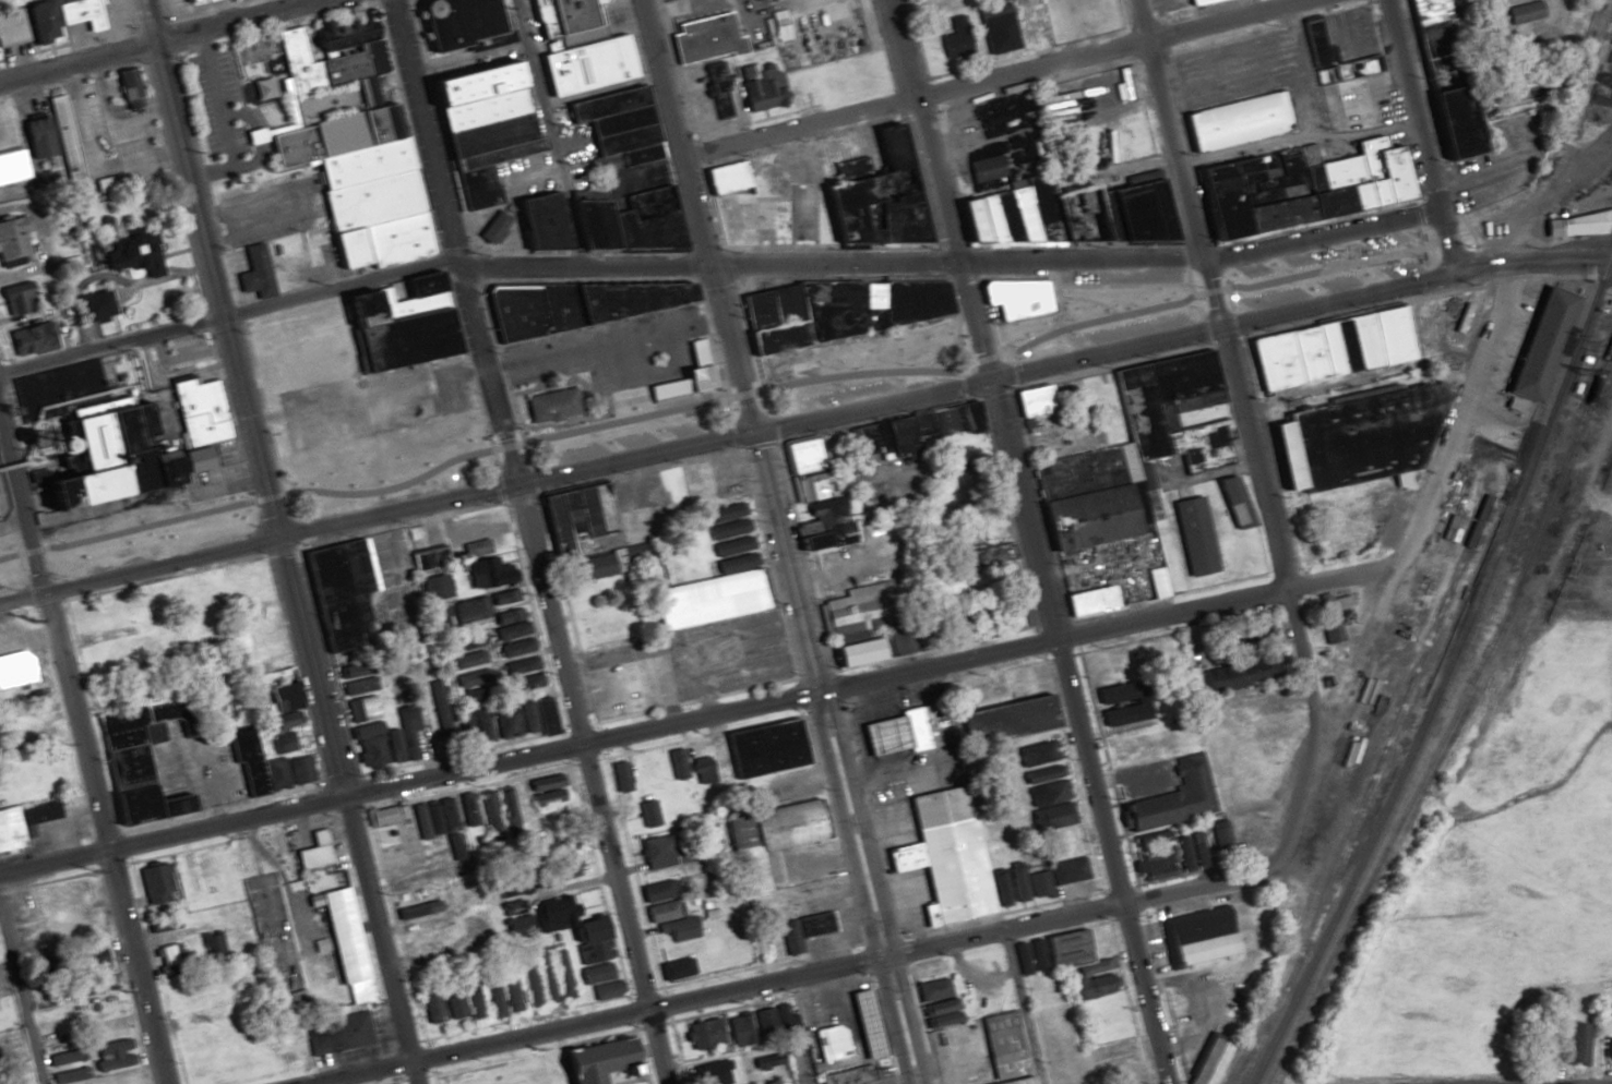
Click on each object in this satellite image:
building: (919, 0)
road: (1301, 0)
building: (191, 1)
building: (1194, 2)
parking lot: (1165, 5)
parking lot: (1213, 7)
road: (683, 9)
parking lot: (697, 13)
road: (1124, 14)
parking lot: (1080, 17)
building: (1525, 17)
building: (55, 19)
building: (564, 20)
road: (748, 21)
building: (452, 22)
parking lot: (763, 22)
road: (1274, 25)
building: (1027, 26)
parking lot: (816, 31)
building: (995, 31)
parking lot: (1349, 32)
building: (0, 34)
road: (154, 38)
building: (1313, 38)
traffic signals: (152, 39)
building: (706, 39)
road: (919, 40)
building: (955, 41)
road: (1028, 53)
road: (1221, 55)
road: (466, 57)
building: (586, 64)
parking lot: (1230, 69)
road: (1298, 71)
building: (1444, 72)
road: (994, 76)
road: (1229, 82)
building: (126, 84)
building: (762, 86)
building: (261, 88)
building: (718, 91)
building: (801, 98)
parking lot: (698, 106)
parking lot: (1368, 108)
building: (1238, 120)
building: (58, 125)
building: (616, 125)
road: (549, 132)
road: (1419, 133)
road: (1295, 136)
building: (23, 153)
building: (498, 155)
parking lot: (1501, 158)
building: (986, 168)
road: (1114, 170)
road: (1490, 173)
building: (721, 179)
building: (1295, 186)
road: (932, 190)
building: (874, 196)
building: (628, 212)
road: (697, 215)
building: (1066, 215)
building: (351, 219)
road: (1316, 221)
building: (1583, 224)
building: (13, 238)
road: (447, 242)
parking lot: (1315, 254)
building: (134, 255)
road: (1530, 261)
traffic signals: (952, 263)
road: (1196, 263)
road: (702, 264)
traffic signals: (711, 264)
traffic signals: (454, 266)
traffic signals: (1450, 267)
road: (210, 268)
building: (255, 273)
road: (1425, 273)
parking lot: (1322, 276)
parking lot: (1112, 291)
building: (1015, 298)
building: (10, 303)
building: (573, 304)
building: (92, 306)
building: (832, 311)
road: (226, 315)
parking lot: (1098, 328)
building: (32, 338)
building: (1539, 344)
road: (604, 347)
building: (1334, 348)
parking lot: (619, 356)
parking lot: (858, 356)
road: (1076, 356)
road: (1230, 361)
road: (647, 378)
traffic signals: (982, 380)
parking lot: (865, 386)
road: (735, 392)
building: (1031, 402)
building: (549, 407)
building: (945, 419)
building: (128, 430)
traffic signals: (753, 431)
building: (881, 437)
parking lot: (632, 438)
building: (1353, 438)
building: (1135, 447)
traffic signals: (510, 485)
building: (811, 485)
building: (1233, 502)
road: (375, 515)
building: (821, 526)
building: (1192, 535)
traffic signals: (278, 538)
building: (474, 547)
road: (783, 562)
building: (592, 566)
building: (487, 573)
building: (717, 577)
building: (1155, 581)
building: (435, 587)
building: (339, 592)
building: (503, 597)
building: (1087, 600)
building: (469, 609)
building: (1014, 611)
building: (89, 612)
building: (1334, 613)
building: (439, 617)
building: (510, 623)
building: (859, 624)
road: (1104, 625)
building: (606, 627)
road: (27, 638)
building: (515, 647)
building: (464, 650)
building: (16, 669)
building: (1239, 672)
building: (523, 673)
railway: (1442, 673)
building: (471, 677)
building: (357, 680)
building: (628, 685)
building: (279, 689)
building: (1117, 702)
railway: (1418, 706)
building: (360, 708)
building: (537, 715)
building: (505, 720)
building: (283, 721)
railway: (1450, 721)
building: (481, 724)
building: (951, 724)
building: (453, 728)
road: (1072, 732)
road: (1312, 737)
building: (387, 742)
building: (279, 744)
building: (762, 747)
road: (82, 748)
building: (674, 763)
building: (140, 764)
building: (701, 769)
building: (288, 771)
building: (619, 775)
road: (406, 783)
road: (586, 784)
building: (1042, 785)
building: (546, 793)
railway: (1363, 794)
building: (1172, 798)
building: (512, 803)
building: (465, 809)
road: (347, 810)
building: (487, 812)
building: (647, 812)
building: (432, 818)
building: (23, 822)
building: (764, 838)
building: (658, 851)
building: (312, 852)
building: (1190, 853)
building: (942, 858)
building: (401, 860)
building: (1153, 866)
building: (566, 869)
building: (199, 875)
building: (1054, 875)
building: (154, 879)
building: (1008, 886)
road: (868, 887)
road: (855, 888)
building: (658, 890)
building: (461, 900)
building: (509, 902)
building: (664, 911)
building: (515, 927)
building: (571, 928)
building: (801, 930)
building: (665, 932)
building: (1198, 938)
building: (343, 943)
building: (764, 944)
building: (201, 950)
building: (1072, 952)
building: (1036, 954)
building: (92, 957)
building: (673, 968)
building: (560, 973)
building: (593, 973)
building: (541, 976)
building: (97, 985)
building: (1091, 985)
building: (606, 990)
building: (500, 993)
road: (20, 998)
building: (470, 999)
building: (452, 1001)
building: (933, 1001)
building: (288, 1004)
building: (429, 1007)
road: (1017, 1007)
building: (1605, 1010)
road: (596, 1019)
building: (771, 1021)
building: (738, 1031)
building: (703, 1032)
building: (834, 1032)
building: (336, 1033)
building: (1002, 1044)
building: (1578, 1044)
building: (1609, 1048)
building: (1207, 1062)
building: (707, 1073)
building: (1016, 1081)
building: (593, 1082)

